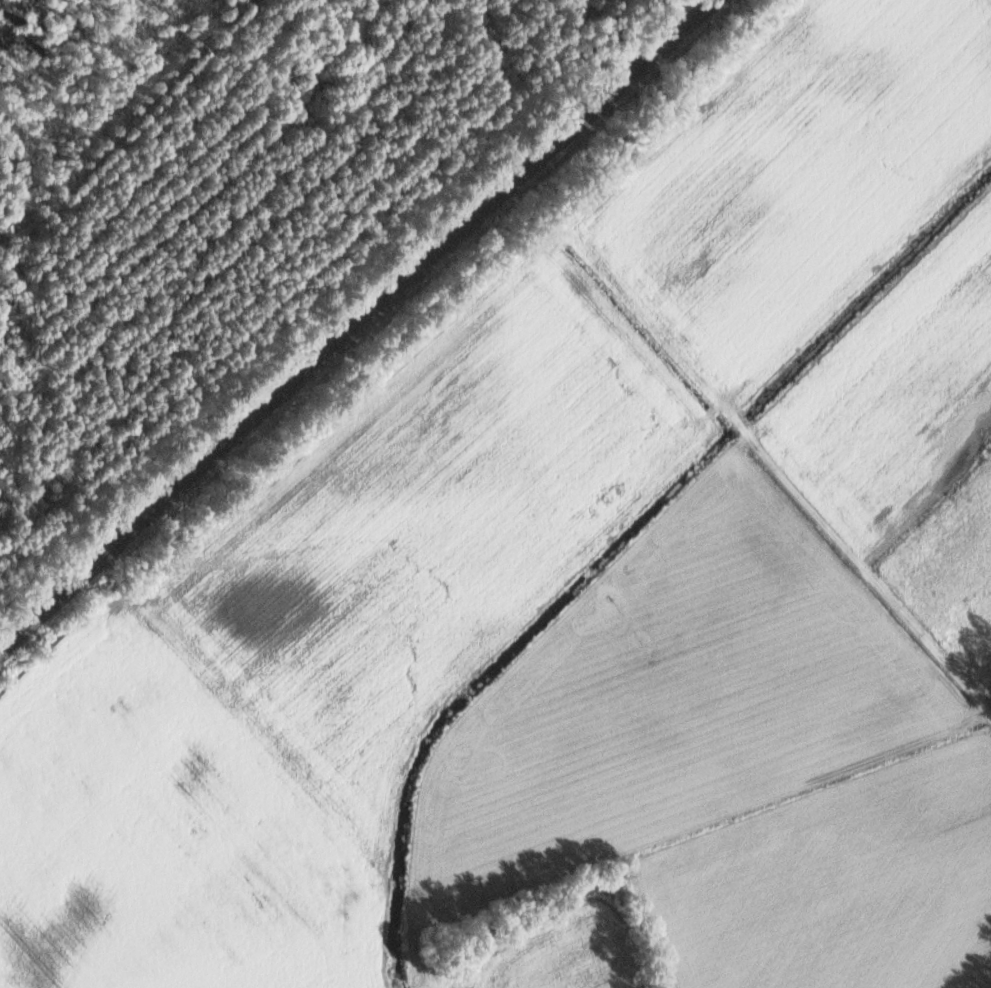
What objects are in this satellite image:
railway: (356, 324)

